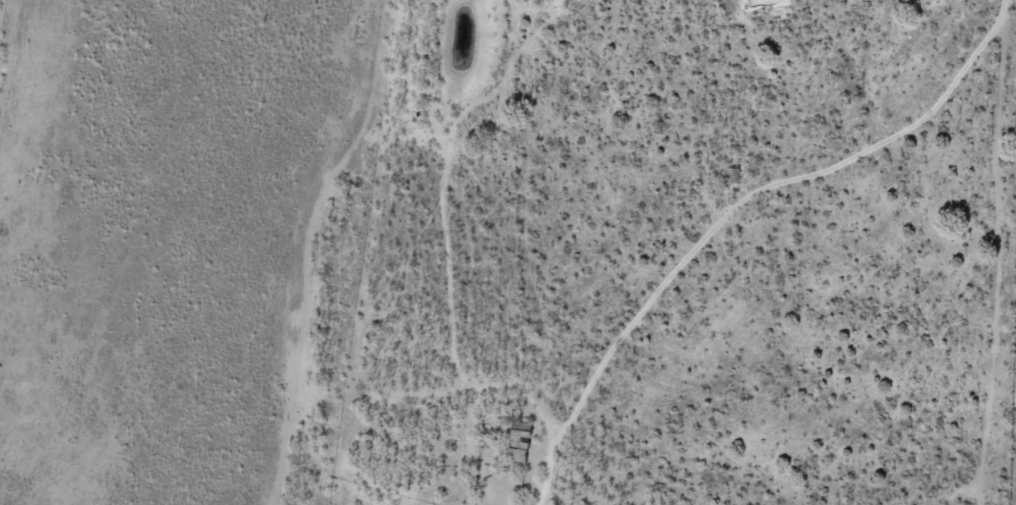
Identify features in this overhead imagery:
road: (780, 193)

